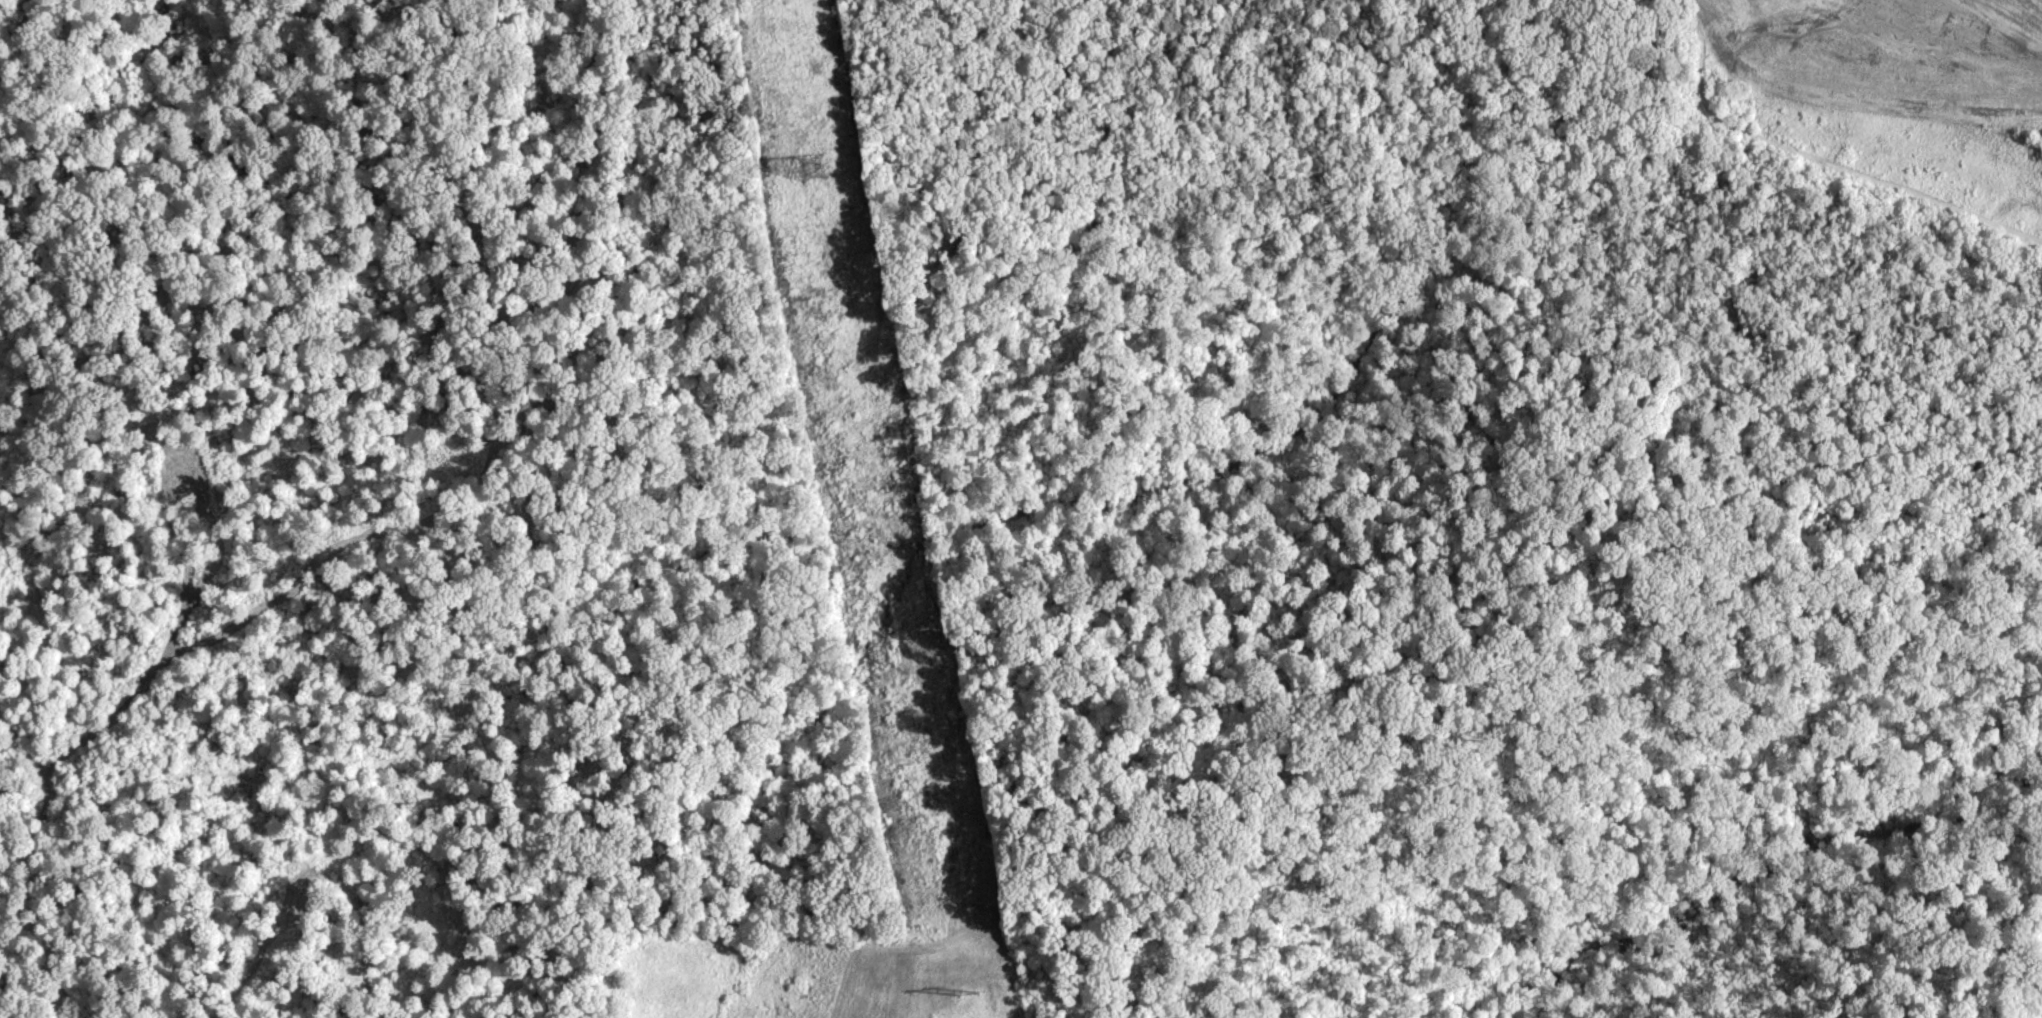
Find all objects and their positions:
power tower: (812, 171)
power tower: (965, 998)

